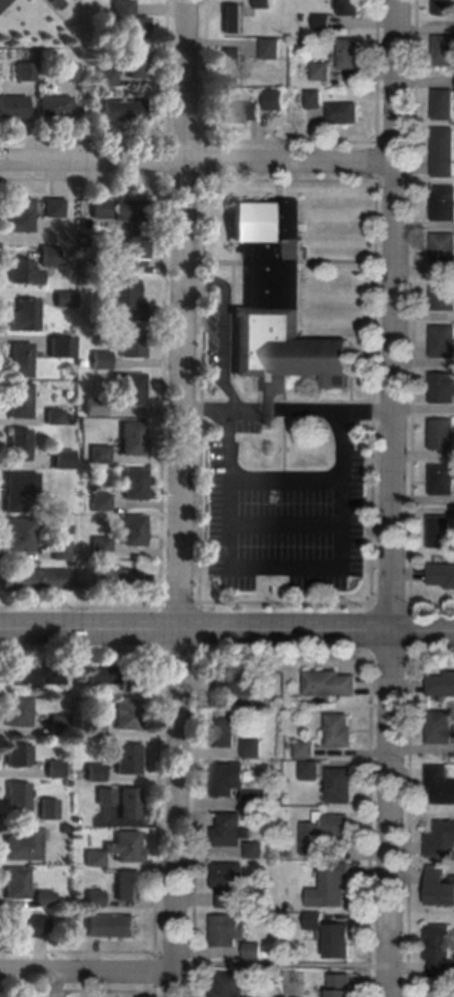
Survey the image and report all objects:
building: (2, 2)
building: (57, 3)
building: (266, 4)
building: (445, 7)
building: (352, 8)
building: (234, 18)
building: (305, 18)
building: (128, 21)
building: (325, 22)
building: (273, 49)
building: (445, 51)
building: (351, 54)
building: (138, 64)
building: (233, 67)
building: (25, 71)
building: (68, 71)
building: (324, 71)
building: (106, 77)
building: (316, 99)
building: (277, 100)
building: (445, 105)
building: (55, 106)
building: (13, 107)
building: (125, 110)
building: (242, 112)
building: (345, 113)
building: (445, 152)
road: (199, 162)
building: (444, 203)
building: (54, 208)
building: (101, 209)
building: (131, 210)
building: (20, 215)
building: (444, 249)
building: (132, 252)
building: (49, 255)
building: (23, 272)
building: (443, 295)
building: (65, 299)
building: (127, 300)
building: (279, 306)
road: (397, 315)
building: (25, 316)
road: (224, 329)
building: (132, 342)
building: (444, 342)
building: (60, 346)
building: (21, 360)
building: (102, 361)
building: (82, 363)
building: (443, 388)
building: (133, 390)
building: (20, 401)
building: (95, 406)
road: (289, 410)
building: (55, 417)
building: (71, 419)
building: (443, 435)
building: (134, 439)
building: (20, 445)
road: (287, 445)
building: (100, 454)
building: (63, 459)
road: (286, 480)
building: (443, 480)
building: (135, 484)
building: (20, 490)
road: (181, 498)
building: (101, 502)
road: (286, 523)
building: (134, 530)
building: (442, 531)
building: (21, 534)
building: (102, 547)
building: (61, 550)
road: (286, 566)
building: (442, 575)
building: (34, 580)
building: (118, 581)
road: (227, 629)
building: (37, 673)
building: (104, 673)
building: (240, 683)
building: (332, 684)
building: (131, 685)
building: (442, 685)
building: (19, 711)
building: (129, 714)
building: (60, 724)
building: (96, 728)
building: (442, 728)
building: (227, 730)
building: (340, 731)
building: (293, 745)
building: (255, 749)
building: (307, 750)
building: (71, 753)
building: (17, 755)
building: (128, 759)
building: (55, 770)
building: (312, 771)
building: (95, 773)
building: (231, 779)
building: (66, 782)
building: (441, 785)
building: (341, 786)
building: (18, 796)
building: (106, 796)
building: (258, 799)
building: (130, 803)
building: (48, 809)
road: (392, 814)
road: (408, 814)
building: (75, 819)
building: (232, 831)
building: (325, 833)
building: (442, 841)
building: (24, 844)
building: (125, 846)
building: (257, 851)
building: (95, 858)
building: (230, 882)
building: (16, 883)
building: (128, 886)
building: (332, 886)
building: (440, 886)
building: (95, 898)
building: (45, 899)
building: (316, 920)
building: (25, 925)
building: (113, 926)
building: (226, 931)
building: (340, 941)
building: (440, 949)
building: (255, 950)
road: (88, 973)
building: (234, 985)
building: (342, 986)

